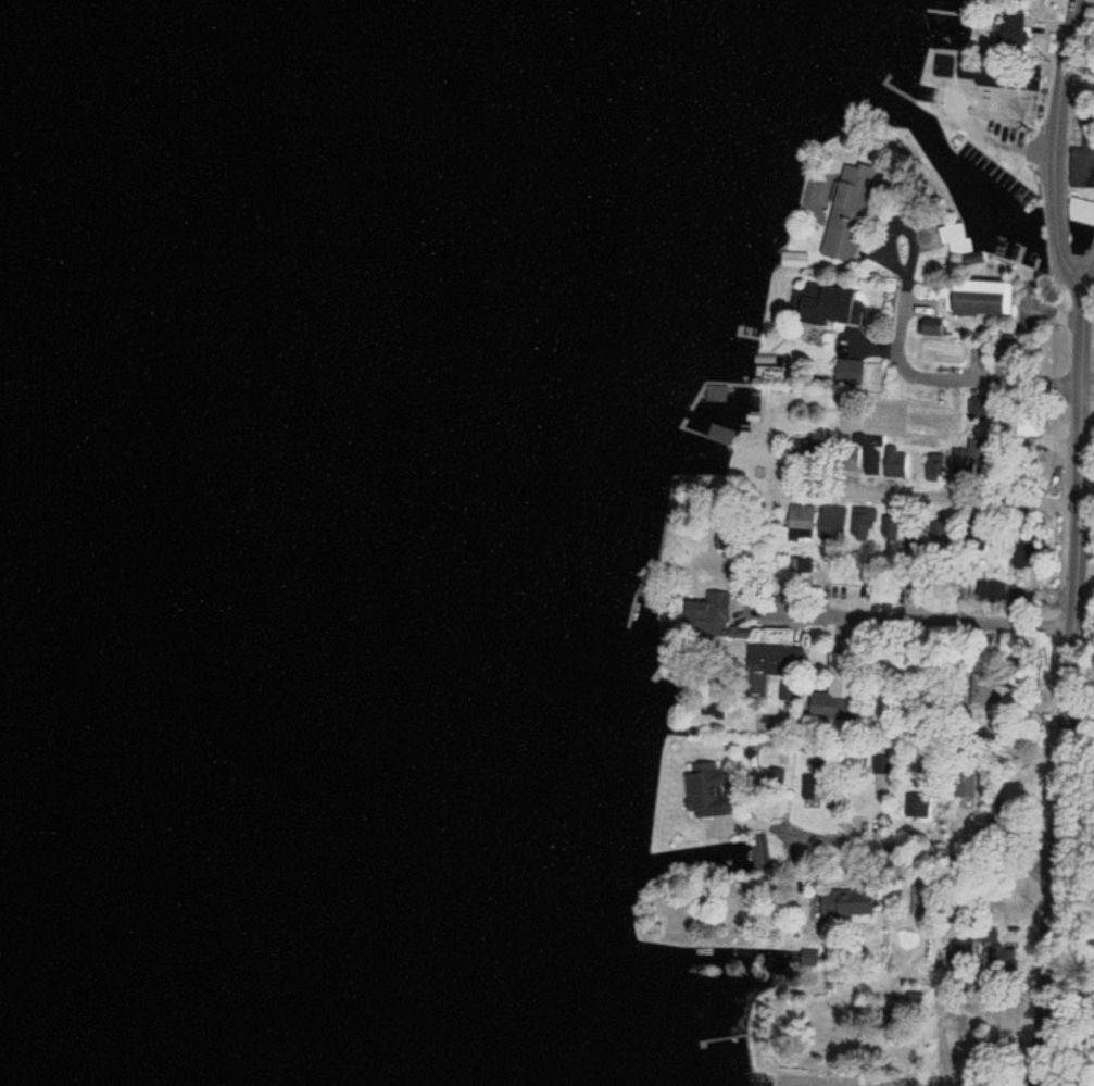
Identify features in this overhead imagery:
building: (1010, 27)
road: (1064, 99)
building: (1082, 168)
building: (1081, 211)
building: (844, 222)
road: (901, 225)
building: (955, 238)
road: (1061, 252)
road: (1091, 277)
building: (977, 298)
building: (826, 304)
building: (850, 371)
road: (951, 375)
building: (895, 462)
building: (935, 469)
road: (920, 490)
building: (818, 519)
building: (865, 523)
building: (992, 592)
building: (1031, 596)
road: (915, 609)
building: (707, 612)
road: (1083, 625)
building: (770, 664)
building: (844, 682)
road: (1066, 690)
road: (1026, 719)
building: (706, 790)
road: (921, 845)
building: (844, 902)
building: (807, 958)
road: (927, 1039)

